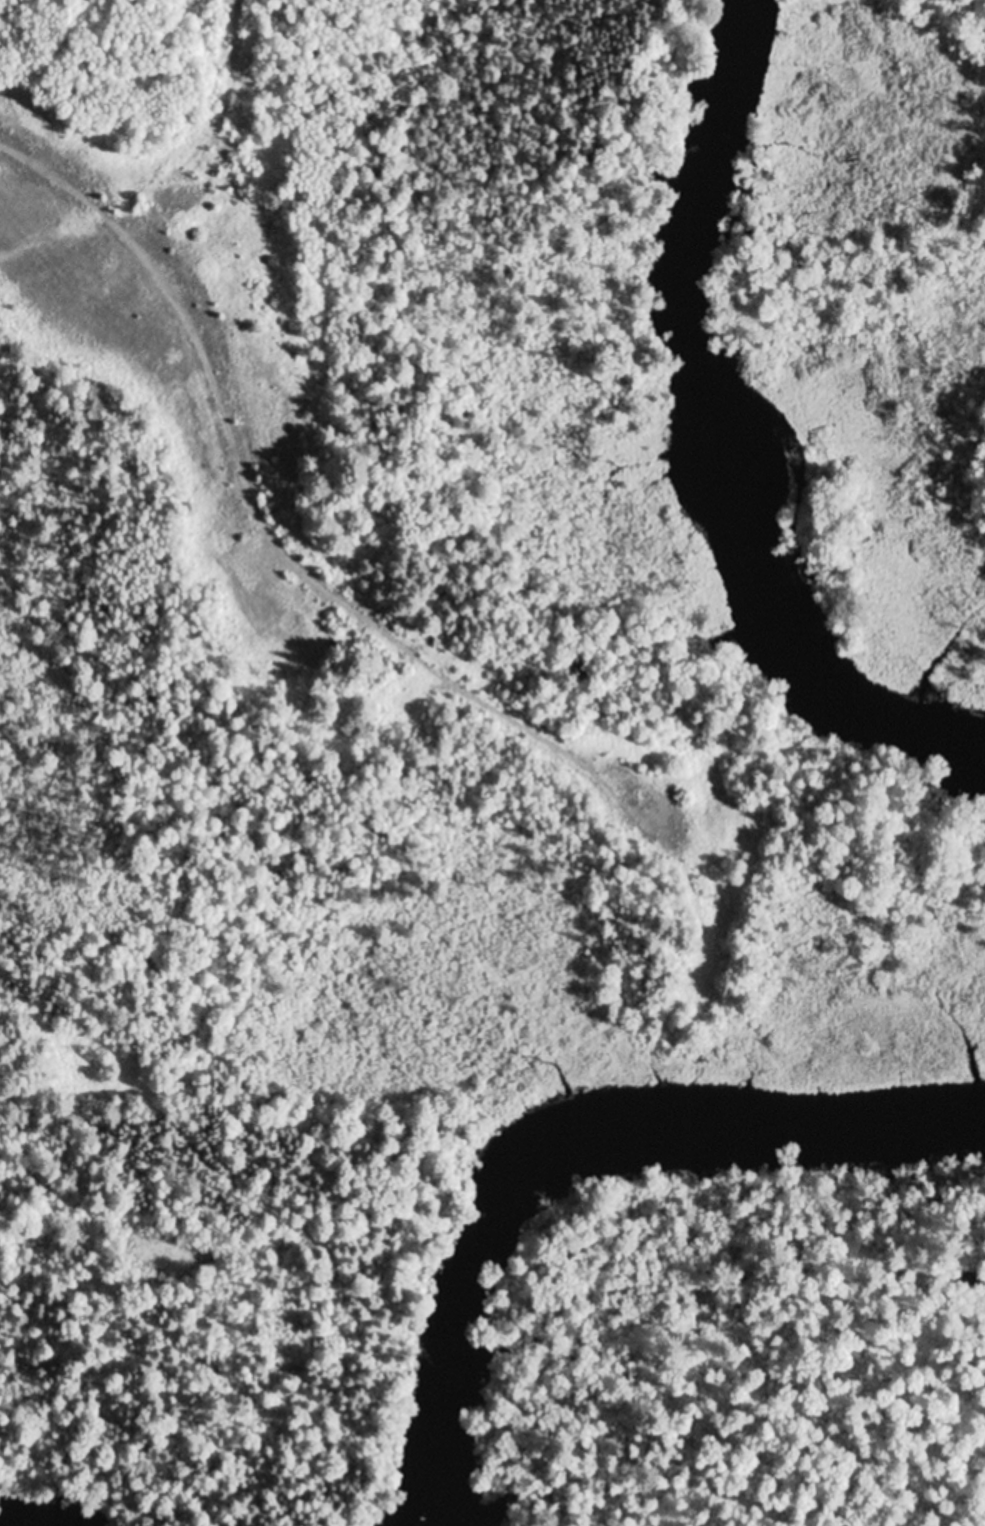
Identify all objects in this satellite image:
river: (720, 434)
road: (252, 505)
river: (545, 1134)

